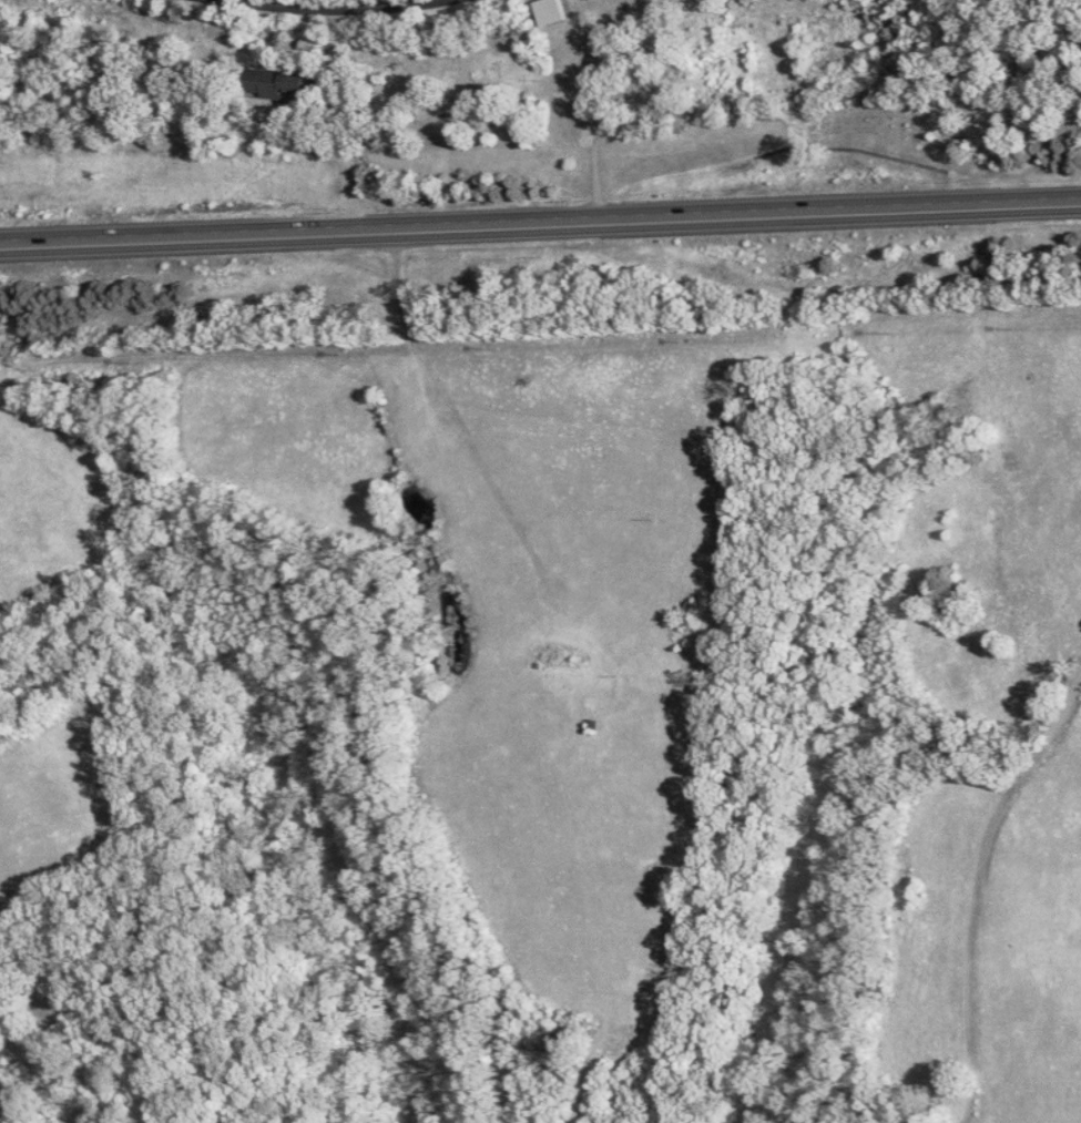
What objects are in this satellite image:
road: (328, 3)
building: (553, 11)
building: (278, 82)
road: (540, 221)

